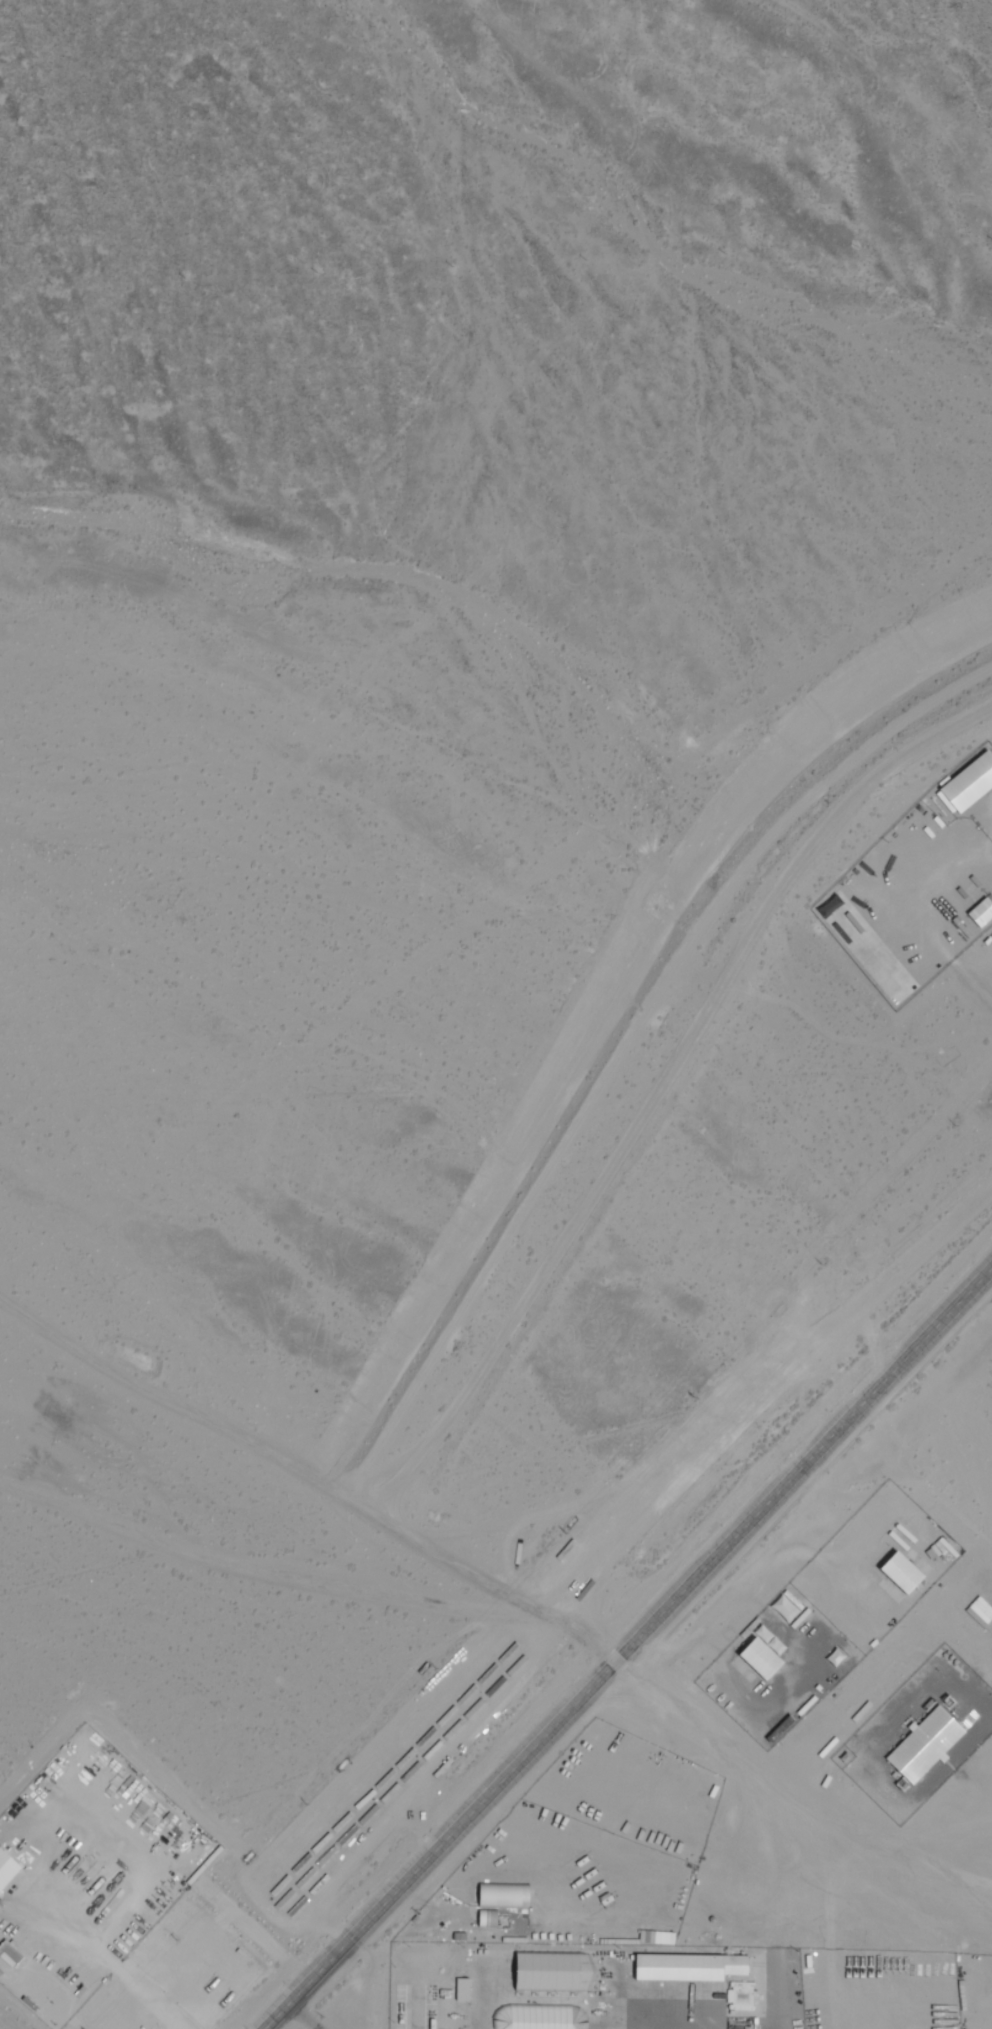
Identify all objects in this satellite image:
building: (970, 784)
building: (982, 913)
road: (972, 983)
road: (309, 1476)
road: (270, 1573)
building: (903, 1573)
building: (784, 1609)
building: (749, 1628)
building: (777, 1645)
road: (626, 1647)
building: (762, 1658)
building: (951, 1667)
building: (926, 1745)
building: (7, 1869)
building: (505, 1897)
building: (487, 1920)
road: (254, 1932)
building: (10, 1956)
building: (691, 1968)
building: (521, 1970)
building: (966, 1983)
building: (53, 1993)
building: (463, 1995)
building: (742, 1996)
building: (440, 2003)
road: (299, 2017)
building: (540, 2018)
building: (466, 2023)

